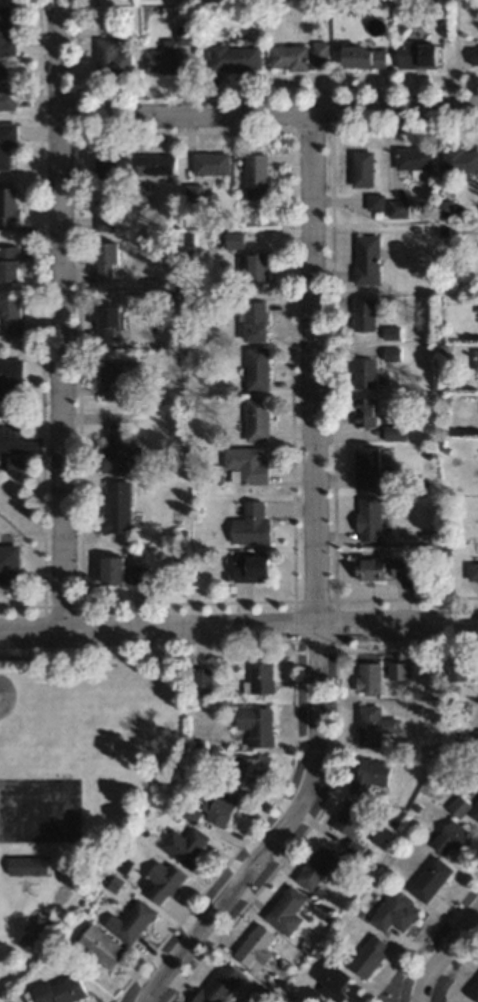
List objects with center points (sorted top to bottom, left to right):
building: (6, 31)
building: (318, 52)
road: (454, 54)
building: (170, 56)
building: (415, 56)
building: (473, 56)
building: (361, 58)
building: (110, 59)
building: (234, 59)
building: (288, 59)
building: (5, 93)
road: (268, 112)
building: (6, 147)
building: (412, 160)
building: (459, 161)
building: (155, 165)
building: (210, 165)
building: (109, 166)
building: (360, 170)
building: (254, 177)
building: (192, 194)
building: (373, 203)
building: (7, 208)
building: (396, 210)
building: (104, 222)
building: (232, 241)
building: (365, 260)
building: (104, 261)
building: (8, 265)
building: (255, 268)
building: (477, 309)
road: (63, 313)
building: (362, 315)
building: (10, 317)
building: (253, 322)
building: (107, 323)
building: (390, 355)
building: (475, 359)
building: (256, 370)
building: (362, 374)
building: (118, 379)
building: (8, 382)
building: (364, 414)
building: (255, 420)
building: (393, 434)
road: (33, 442)
building: (121, 453)
building: (246, 465)
building: (367, 469)
building: (115, 507)
building: (367, 522)
building: (249, 525)
building: (8, 567)
building: (398, 569)
building: (248, 570)
building: (368, 571)
building: (472, 572)
building: (113, 573)
road: (316, 585)
road: (238, 625)
building: (457, 671)
building: (396, 672)
building: (200, 679)
building: (367, 679)
building: (260, 680)
building: (254, 727)
building: (372, 728)
park: (76, 770)
building: (248, 772)
building: (368, 776)
building: (458, 807)
building: (474, 811)
building: (217, 812)
building: (347, 821)
building: (452, 839)
building: (183, 846)
building: (354, 849)
building: (32, 867)
building: (314, 869)
building: (428, 880)
building: (160, 883)
building: (284, 912)
building: (393, 914)
building: (132, 923)
building: (99, 947)
building: (253, 950)
road: (442, 952)
building: (367, 958)
building: (330, 983)
building: (218, 984)
building: (66, 990)
building: (473, 991)

